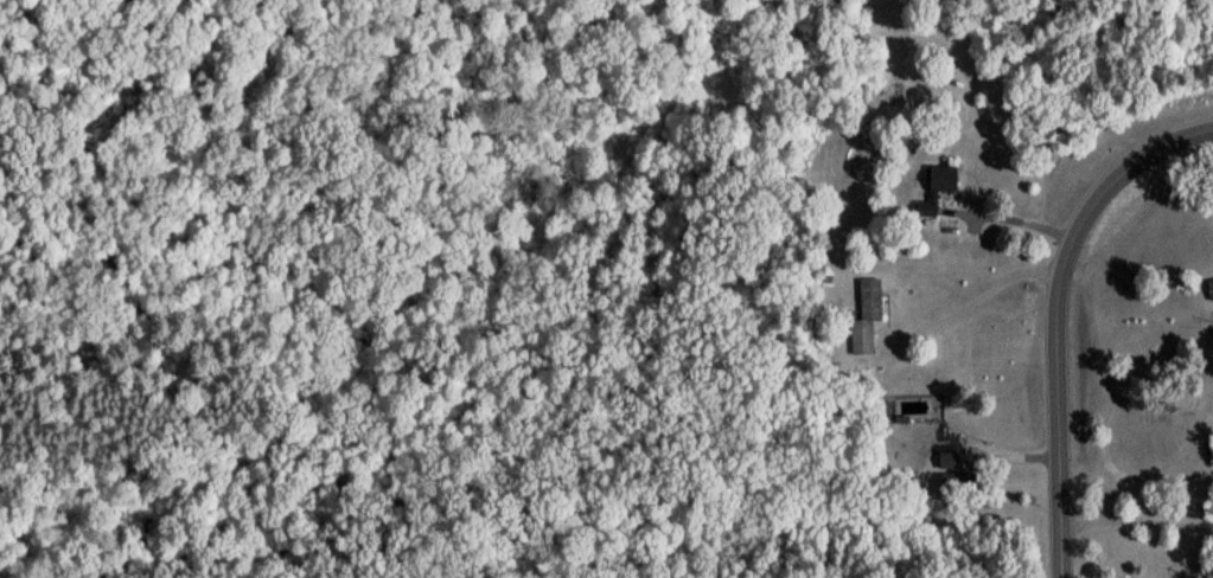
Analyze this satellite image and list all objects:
building: (939, 186)
building: (1208, 295)
road: (971, 302)
road: (1052, 312)
building: (863, 323)
building: (1212, 457)
building: (947, 469)
road: (1135, 525)

